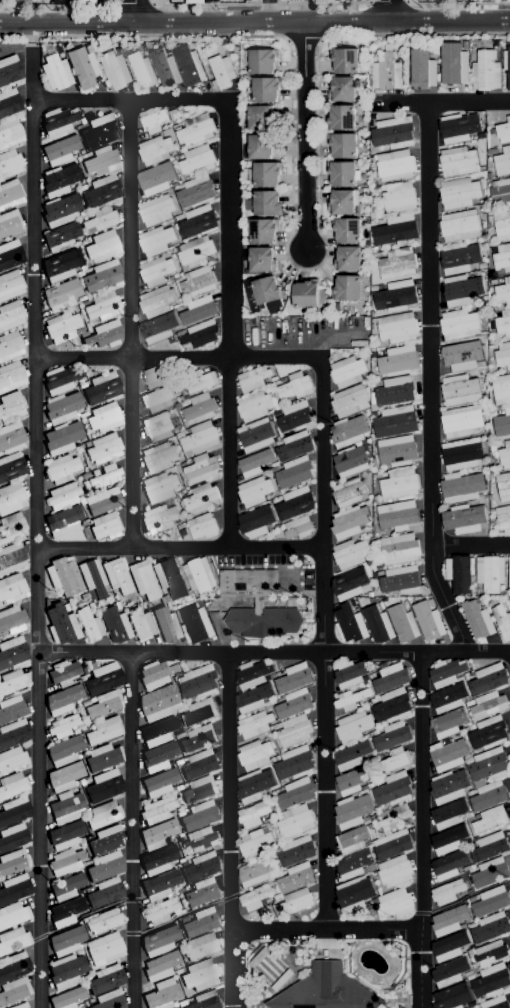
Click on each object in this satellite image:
building: (57, 1)
road: (458, 2)
road: (136, 3)
road: (206, 3)
road: (316, 4)
road: (59, 6)
road: (389, 10)
road: (135, 11)
road: (269, 11)
road: (255, 22)
road: (32, 34)
building: (60, 54)
building: (262, 60)
building: (346, 60)
building: (454, 63)
building: (507, 64)
building: (189, 65)
building: (83, 68)
building: (166, 69)
building: (423, 69)
building: (9, 70)
building: (114, 70)
building: (143, 70)
building: (222, 70)
building: (486, 71)
road: (32, 72)
building: (56, 72)
building: (386, 72)
building: (266, 89)
building: (343, 89)
road: (131, 98)
road: (448, 100)
building: (9, 103)
building: (260, 117)
building: (342, 117)
building: (153, 119)
building: (59, 121)
building: (460, 128)
building: (197, 129)
building: (100, 131)
building: (492, 131)
building: (504, 131)
building: (393, 132)
building: (10, 133)
road: (305, 135)
building: (343, 145)
building: (261, 146)
building: (60, 150)
building: (156, 150)
building: (491, 151)
building: (198, 160)
building: (101, 161)
building: (458, 161)
building: (503, 162)
building: (10, 164)
building: (395, 165)
building: (267, 173)
building: (342, 173)
building: (157, 178)
building: (60, 180)
building: (197, 191)
building: (102, 192)
building: (459, 192)
building: (10, 194)
building: (499, 194)
building: (399, 197)
building: (342, 202)
building: (265, 203)
building: (61, 210)
building: (157, 210)
building: (100, 220)
building: (199, 221)
building: (10, 223)
building: (502, 224)
building: (459, 226)
building: (348, 229)
building: (261, 230)
building: (397, 231)
road: (291, 233)
building: (61, 236)
building: (157, 240)
building: (102, 246)
building: (197, 251)
building: (10, 255)
building: (459, 257)
building: (502, 257)
building: (261, 258)
building: (348, 258)
building: (398, 263)
building: (62, 265)
building: (482, 265)
building: (156, 270)
building: (492, 275)
building: (103, 276)
building: (199, 281)
building: (11, 285)
building: (348, 287)
building: (462, 289)
building: (267, 290)
building: (503, 291)
building: (306, 294)
building: (62, 295)
building: (395, 295)
building: (157, 301)
building: (103, 306)
building: (199, 309)
building: (11, 315)
building: (490, 316)
road: (130, 323)
road: (231, 323)
building: (504, 323)
building: (459, 324)
building: (63, 327)
building: (397, 327)
building: (160, 328)
building: (485, 332)
building: (105, 334)
building: (202, 334)
building: (10, 346)
building: (491, 346)
building: (503, 354)
building: (463, 355)
road: (178, 358)
building: (399, 360)
building: (347, 371)
building: (11, 376)
building: (154, 376)
building: (253, 378)
road: (429, 379)
building: (60, 380)
building: (200, 380)
building: (83, 385)
building: (296, 386)
building: (501, 388)
building: (103, 389)
building: (461, 389)
building: (395, 390)
building: (179, 398)
building: (158, 399)
building: (350, 400)
building: (11, 405)
building: (254, 406)
building: (277, 407)
building: (63, 408)
building: (200, 408)
building: (368, 412)
building: (375, 413)
building: (84, 415)
building: (294, 415)
building: (105, 418)
building: (396, 421)
building: (462, 421)
building: (502, 424)
building: (157, 427)
building: (349, 431)
building: (256, 435)
building: (11, 437)
building: (200, 437)
building: (63, 438)
building: (276, 438)
building: (279, 442)
building: (295, 445)
building: (104, 448)
building: (493, 448)
building: (397, 449)
building: (463, 453)
building: (505, 455)
building: (158, 457)
building: (256, 460)
building: (351, 460)
building: (275, 466)
building: (12, 468)
building: (201, 468)
building: (62, 469)
building: (295, 472)
building: (384, 474)
building: (86, 476)
building: (107, 476)
building: (400, 483)
building: (462, 486)
building: (503, 486)
building: (160, 487)
building: (254, 490)
building: (349, 492)
building: (63, 496)
building: (11, 498)
building: (202, 498)
building: (176, 499)
building: (276, 499)
building: (479, 500)
building: (103, 501)
building: (296, 503)
building: (492, 510)
building: (398, 515)
building: (187, 516)
building: (159, 518)
building: (464, 518)
building: (504, 518)
building: (64, 521)
building: (256, 521)
building: (350, 521)
building: (178, 522)
building: (106, 526)
building: (203, 526)
building: (299, 527)
building: (12, 528)
building: (183, 532)
building: (371, 540)
road: (470, 544)
road: (179, 548)
building: (400, 548)
building: (350, 553)
road: (37, 554)
building: (12, 558)
building: (509, 571)
building: (460, 572)
building: (491, 572)
building: (199, 574)
building: (65, 576)
building: (118, 576)
building: (93, 577)
building: (170, 578)
building: (144, 580)
building: (402, 580)
building: (350, 583)
building: (13, 589)
building: (163, 592)
building: (370, 594)
building: (91, 595)
building: (86, 596)
building: (197, 597)
building: (117, 598)
building: (166, 598)
building: (243, 599)
building: (431, 602)
building: (200, 603)
building: (507, 603)
building: (257, 604)
building: (381, 604)
building: (406, 604)
building: (67, 607)
building: (92, 607)
building: (478, 619)
building: (12, 620)
building: (429, 620)
building: (502, 621)
building: (196, 623)
building: (378, 623)
building: (403, 623)
building: (165, 624)
building: (350, 624)
building: (63, 625)
building: (90, 625)
building: (116, 625)
building: (142, 626)
road: (323, 643)
road: (274, 651)
building: (13, 653)
building: (446, 672)
building: (471, 672)
building: (64, 673)
building: (352, 673)
building: (156, 674)
building: (253, 675)
building: (466, 675)
building: (294, 677)
building: (391, 677)
building: (268, 678)
building: (104, 679)
building: (489, 679)
building: (198, 681)
building: (14, 682)
building: (282, 697)
building: (449, 697)
building: (254, 698)
building: (351, 699)
building: (64, 700)
building: (374, 700)
building: (470, 702)
building: (86, 703)
building: (159, 703)
building: (295, 703)
building: (364, 703)
building: (488, 704)
building: (79, 705)
building: (105, 705)
building: (393, 705)
building: (12, 709)
building: (198, 712)
building: (449, 722)
building: (255, 723)
building: (276, 725)
building: (65, 726)
building: (354, 726)
building: (86, 729)
building: (295, 730)
building: (105, 731)
building: (376, 731)
building: (159, 732)
building: (488, 732)
building: (14, 734)
building: (392, 735)
building: (199, 737)
building: (65, 751)
building: (256, 754)
building: (448, 754)
building: (84, 755)
building: (352, 755)
building: (159, 756)
building: (104, 757)
building: (396, 759)
building: (12, 760)
building: (469, 760)
building: (179, 762)
building: (295, 763)
building: (200, 764)
building: (489, 764)
building: (66, 777)
building: (353, 780)
building: (160, 783)
building: (255, 784)
building: (13, 785)
building: (371, 785)
building: (105, 786)
building: (449, 786)
building: (179, 788)
building: (394, 788)
building: (200, 789)
building: (296, 793)
building: (489, 795)
building: (68, 808)
building: (354, 809)
building: (159, 810)
building: (14, 811)
building: (181, 813)
building: (254, 813)
building: (449, 813)
building: (104, 814)
building: (470, 814)
building: (200, 815)
building: (395, 817)
building: (296, 820)
building: (490, 820)
road: (421, 829)
road: (133, 830)
road: (228, 830)
building: (67, 835)
building: (159, 835)
building: (353, 838)
building: (201, 839)
building: (14, 840)
building: (448, 840)
building: (256, 843)
building: (392, 844)
building: (108, 846)
building: (489, 846)
building: (296, 850)
building: (159, 860)
building: (13, 862)
building: (66, 862)
building: (354, 863)
building: (185, 864)
building: (450, 864)
building: (202, 866)
building: (372, 867)
building: (471, 869)
building: (106, 870)
building: (395, 870)
building: (256, 871)
building: (490, 872)
building: (278, 874)
building: (296, 877)
building: (161, 885)
building: (67, 887)
building: (15, 889)
building: (89, 889)
building: (182, 891)
building: (470, 891)
building: (80, 892)
building: (203, 892)
building: (355, 892)
building: (447, 892)
building: (106, 893)
building: (256, 896)
building: (277, 896)
road: (465, 897)
building: (472, 898)
building: (491, 901)
building: (295, 902)
building: (394, 903)
building: (160, 911)
building: (67, 912)
building: (13, 915)
road: (85, 915)
road: (180, 915)
building: (450, 920)
building: (104, 921)
building: (202, 922)
building: (472, 925)
building: (491, 927)
road: (327, 929)
building: (14, 940)
building: (68, 941)
building: (160, 941)
building: (450, 945)
building: (202, 946)
building: (106, 948)
building: (470, 952)
building: (491, 952)
building: (258, 957)
building: (161, 963)
building: (14, 967)
building: (451, 968)
building: (67, 971)
building: (179, 972)
building: (203, 974)
building: (470, 976)
building: (87, 978)
building: (107, 980)
building: (283, 980)
building: (491, 980)
building: (326, 990)
building: (15, 991)
building: (164, 994)
building: (452, 996)
building: (69, 998)
building: (110, 1000)
building: (206, 1000)
building: (495, 1002)
building: (183, 1003)
building: (471, 1004)
building: (21, 1006)
building: (475, 1006)

